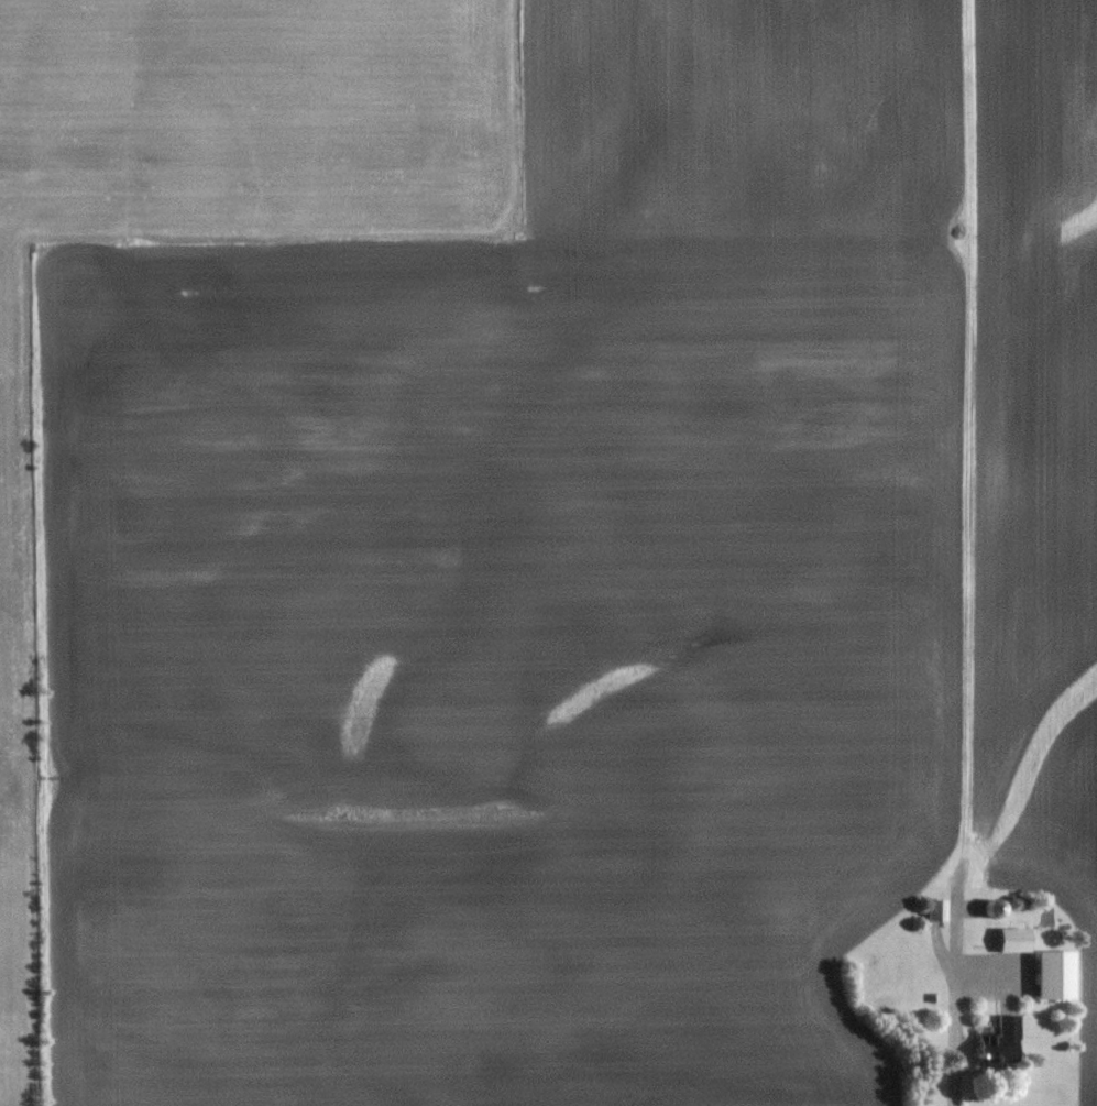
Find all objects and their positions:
building: (935, 909)
building: (1013, 939)
building: (1053, 974)
road: (953, 1026)
building: (999, 1042)

